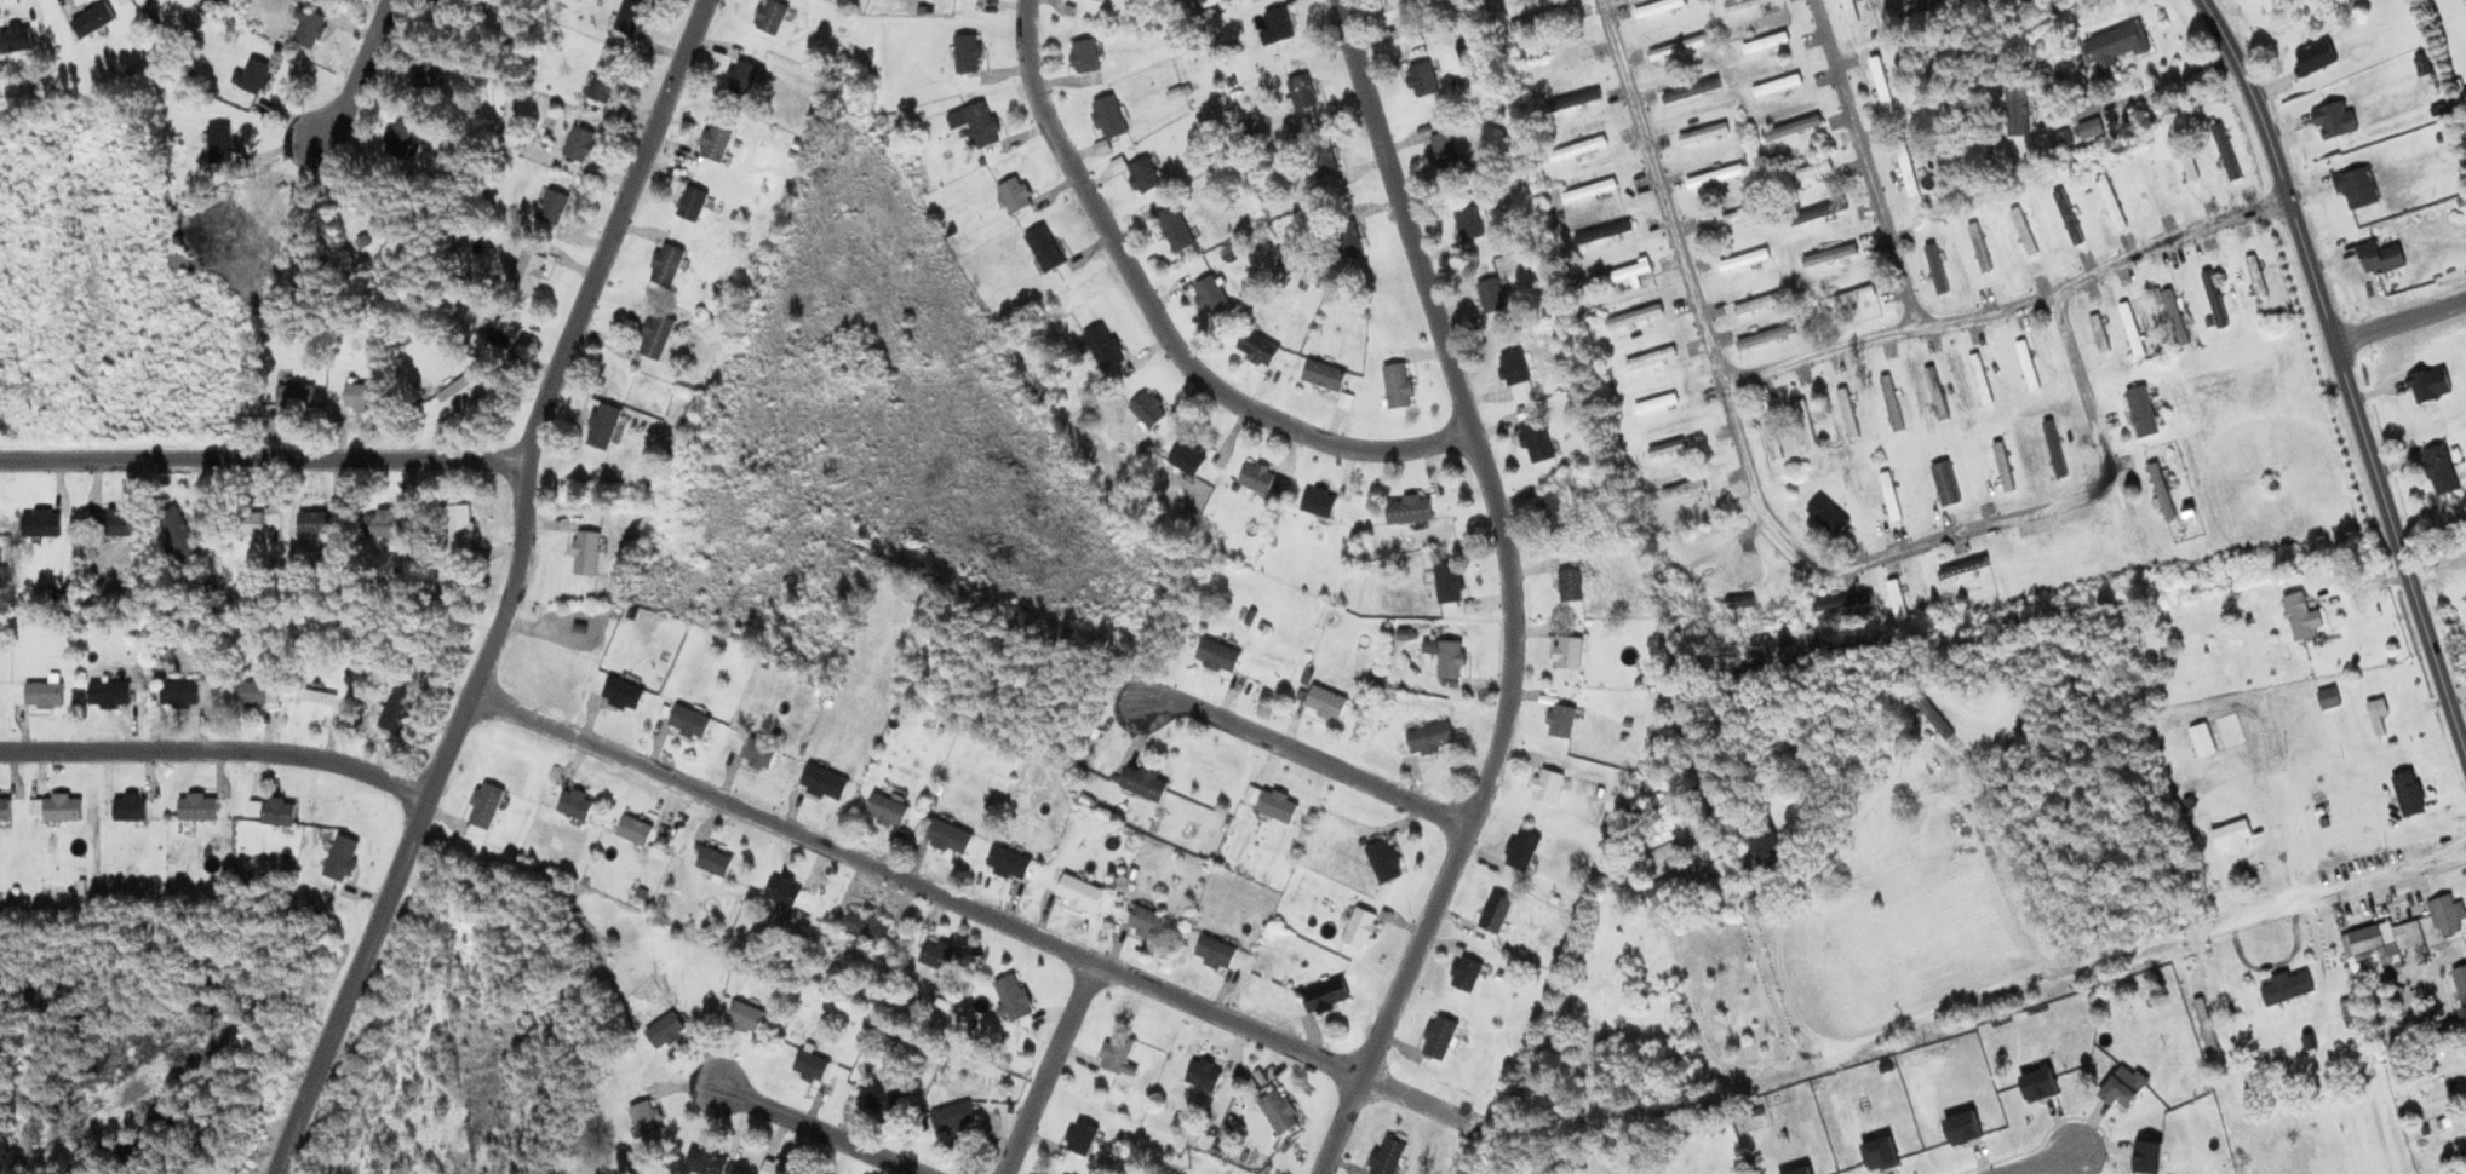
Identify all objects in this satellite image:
building: (1093, 0)
building: (1740, 4)
building: (1657, 7)
building: (1398, 12)
building: (449, 13)
building: (768, 17)
building: (629, 18)
building: (90, 21)
building: (1532, 22)
building: (1275, 24)
building: (305, 29)
building: (13, 40)
building: (1764, 44)
building: (2115, 46)
building: (1675, 48)
building: (964, 54)
building: (1082, 57)
building: (2313, 57)
road: (360, 70)
building: (426, 73)
building: (250, 77)
building: (739, 79)
building: (1420, 80)
building: (1776, 86)
building: (1880, 86)
building: (602, 87)
building: (1690, 92)
building: (1300, 93)
building: (1582, 98)
building: (2015, 113)
building: (1105, 117)
building: (2332, 121)
building: (979, 126)
building: (1790, 130)
building: (2088, 130)
building: (1702, 134)
building: (398, 139)
building: (712, 143)
building: (216, 145)
building: (577, 145)
building: (1575, 150)
building: (1443, 152)
building: (2224, 154)
building: (1320, 161)
road: (1865, 162)
building: (1904, 169)
building: (2187, 169)
building: (1805, 173)
building: (1141, 177)
building: (1714, 178)
building: (2355, 189)
building: (1587, 192)
road: (1662, 192)
building: (1011, 196)
building: (2109, 203)
building: (689, 206)
building: (550, 208)
building: (1817, 214)
building: (1734, 218)
building: (2066, 218)
building: (1466, 224)
building: (1172, 231)
building: (2021, 232)
building: (1601, 235)
building: (1346, 241)
building: (1977, 249)
building: (1042, 251)
building: (1826, 257)
building: (2378, 259)
building: (1743, 261)
building: (1932, 264)
building: (663, 266)
building: (524, 275)
building: (1619, 276)
building: (2254, 277)
building: (1206, 295)
building: (1490, 297)
building: (1843, 300)
building: (2213, 300)
building: (1756, 305)
road: (2012, 306)
building: (1631, 318)
building: (2173, 318)
road: (2399, 320)
road: (1160, 323)
building: (2129, 330)
building: (500, 333)
building: (2097, 334)
building: (652, 338)
building: (1764, 338)
building: (1100, 349)
building: (1255, 350)
building: (1648, 359)
building: (2025, 366)
building: (1510, 369)
road: (2346, 374)
building: (1320, 376)
building: (1978, 380)
building: (1394, 386)
building: (2426, 386)
building: (460, 392)
building: (1934, 395)
building: (293, 398)
building: (359, 399)
building: (1653, 404)
building: (1889, 404)
building: (1145, 410)
building: (2140, 412)
building: (1846, 414)
building: (1803, 426)
building: (600, 427)
building: (1533, 441)
building: (1771, 442)
building: (1664, 449)
building: (2052, 449)
road: (263, 459)
building: (1185, 460)
building: (2001, 467)
building: (2438, 470)
building: (1254, 478)
building: (1943, 483)
building: (1681, 489)
building: (2160, 491)
building: (1888, 497)
building: (1315, 503)
building: (1405, 512)
building: (1554, 513)
building: (1825, 516)
building: (245, 520)
building: (111, 522)
building: (38, 523)
building: (312, 523)
building: (380, 523)
building: (457, 528)
road: (1956, 533)
building: (177, 534)
building: (1699, 543)
building: (583, 553)
road: (2437, 565)
building: (1962, 569)
building: (1780, 582)
building: (1445, 583)
building: (1569, 585)
road: (510, 592)
road: (1513, 593)
building: (2465, 600)
building: (1739, 602)
building: (1896, 602)
building: (1843, 604)
building: (2299, 617)
building: (1565, 652)
building: (1215, 656)
building: (1447, 660)
building: (619, 694)
building: (105, 695)
building: (176, 695)
building: (242, 695)
building: (39, 696)
building: (2327, 700)
building: (1323, 703)
building: (316, 704)
building: (395, 710)
building: (1932, 719)
building: (2374, 720)
building: (1558, 721)
building: (686, 723)
building: (1427, 738)
building: (2201, 741)
road: (216, 750)
building: (756, 754)
road: (1303, 756)
building: (821, 783)
building: (1141, 783)
building: (1544, 787)
building: (2405, 794)
building: (573, 805)
building: (481, 806)
building: (126, 807)
building: (194, 807)
building: (1274, 807)
building: (4, 808)
building: (57, 808)
building: (883, 810)
building: (275, 812)
building: (631, 830)
building: (945, 836)
building: (2231, 836)
building: (1762, 844)
building: (1519, 851)
building: (338, 859)
building: (1381, 861)
building: (711, 862)
building: (1005, 864)
building: (1668, 887)
building: (780, 891)
building: (1077, 892)
road: (965, 905)
building: (1493, 913)
building: (1142, 922)
building: (862, 927)
building: (1357, 928)
building: (2399, 936)
road: (2162, 944)
building: (1212, 953)
building: (934, 955)
building: (1462, 974)
building: (2460, 984)
building: (2284, 988)
building: (1321, 996)
building: (1010, 999)
building: (741, 1018)
building: (2203, 1026)
building: (663, 1031)
building: (1436, 1038)
building: (1114, 1055)
road: (1049, 1066)
building: (808, 1067)
building: (1200, 1075)
building: (879, 1098)
building: (1275, 1111)
building: (643, 1118)
building: (950, 1118)
road: (825, 1133)
building: (1078, 1139)
building: (1384, 1157)
building: (702, 1162)
road: (2052, 1166)
building: (774, 1168)

